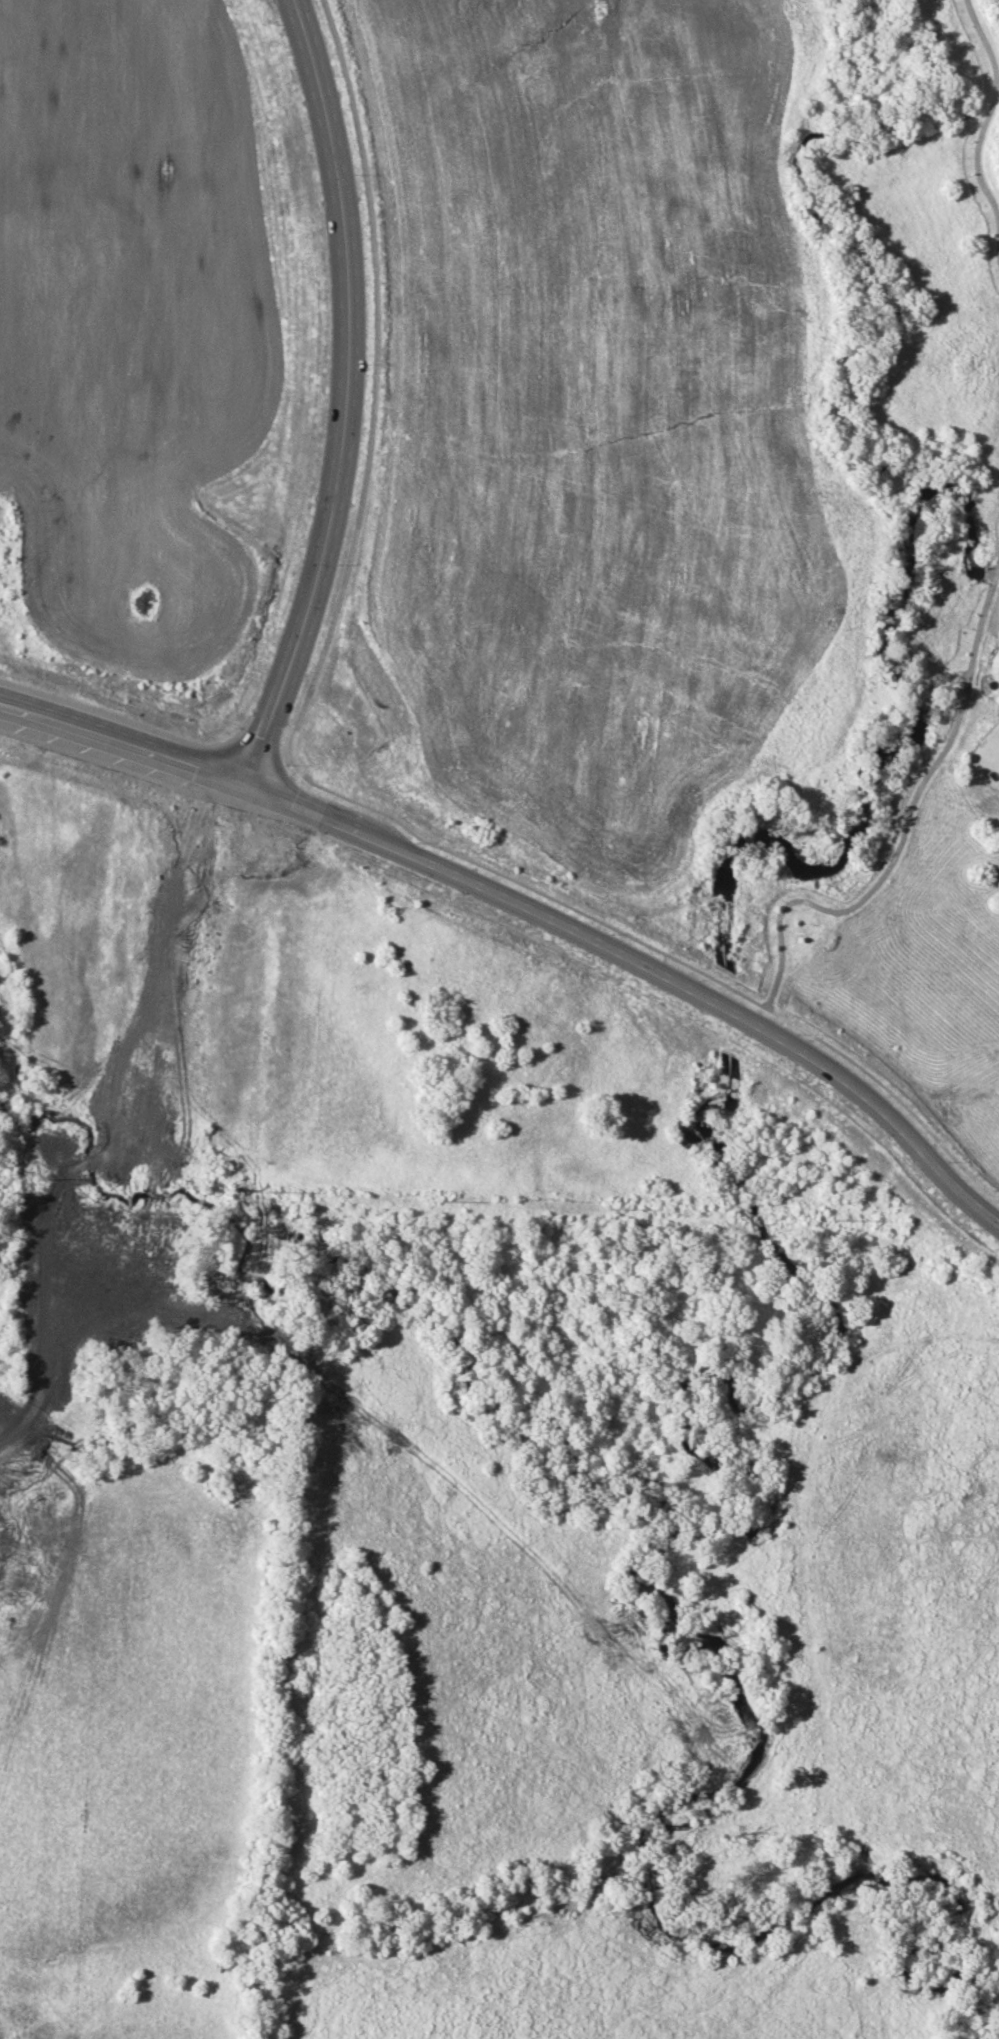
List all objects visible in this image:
road: (981, 126)
crop: (138, 340)
park: (945, 366)
road: (372, 390)
crop: (608, 420)
road: (258, 745)
road: (287, 783)
road: (904, 831)
road: (529, 891)
road: (529, 910)

